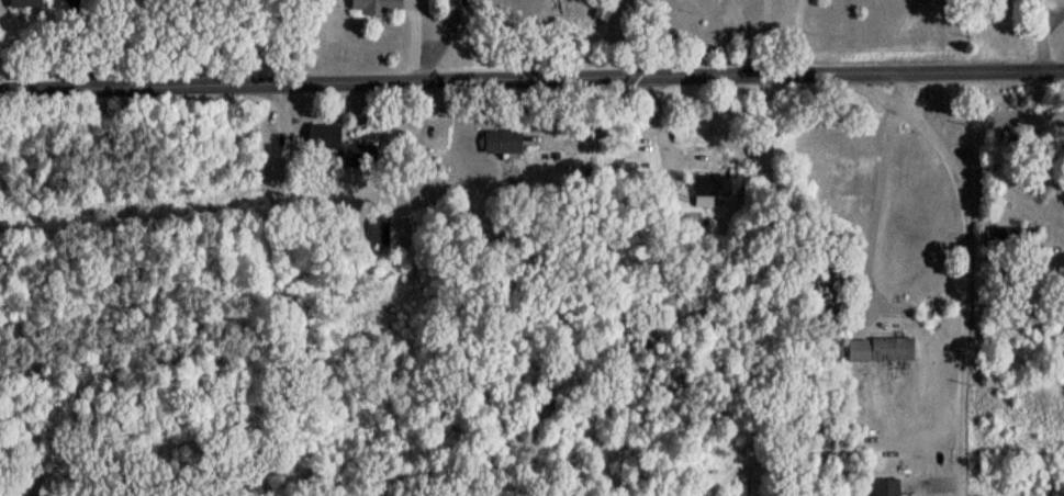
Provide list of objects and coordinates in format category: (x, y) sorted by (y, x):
building: (1005, 2)
building: (22, 5)
building: (376, 9)
road: (725, 25)
road: (759, 27)
road: (1040, 35)
road: (413, 42)
road: (748, 66)
road: (531, 81)
building: (322, 143)
building: (501, 148)
building: (358, 160)
road: (950, 174)
building: (708, 194)
road: (874, 210)
building: (376, 236)
building: (999, 243)
road: (964, 343)
building: (877, 356)
building: (884, 491)

